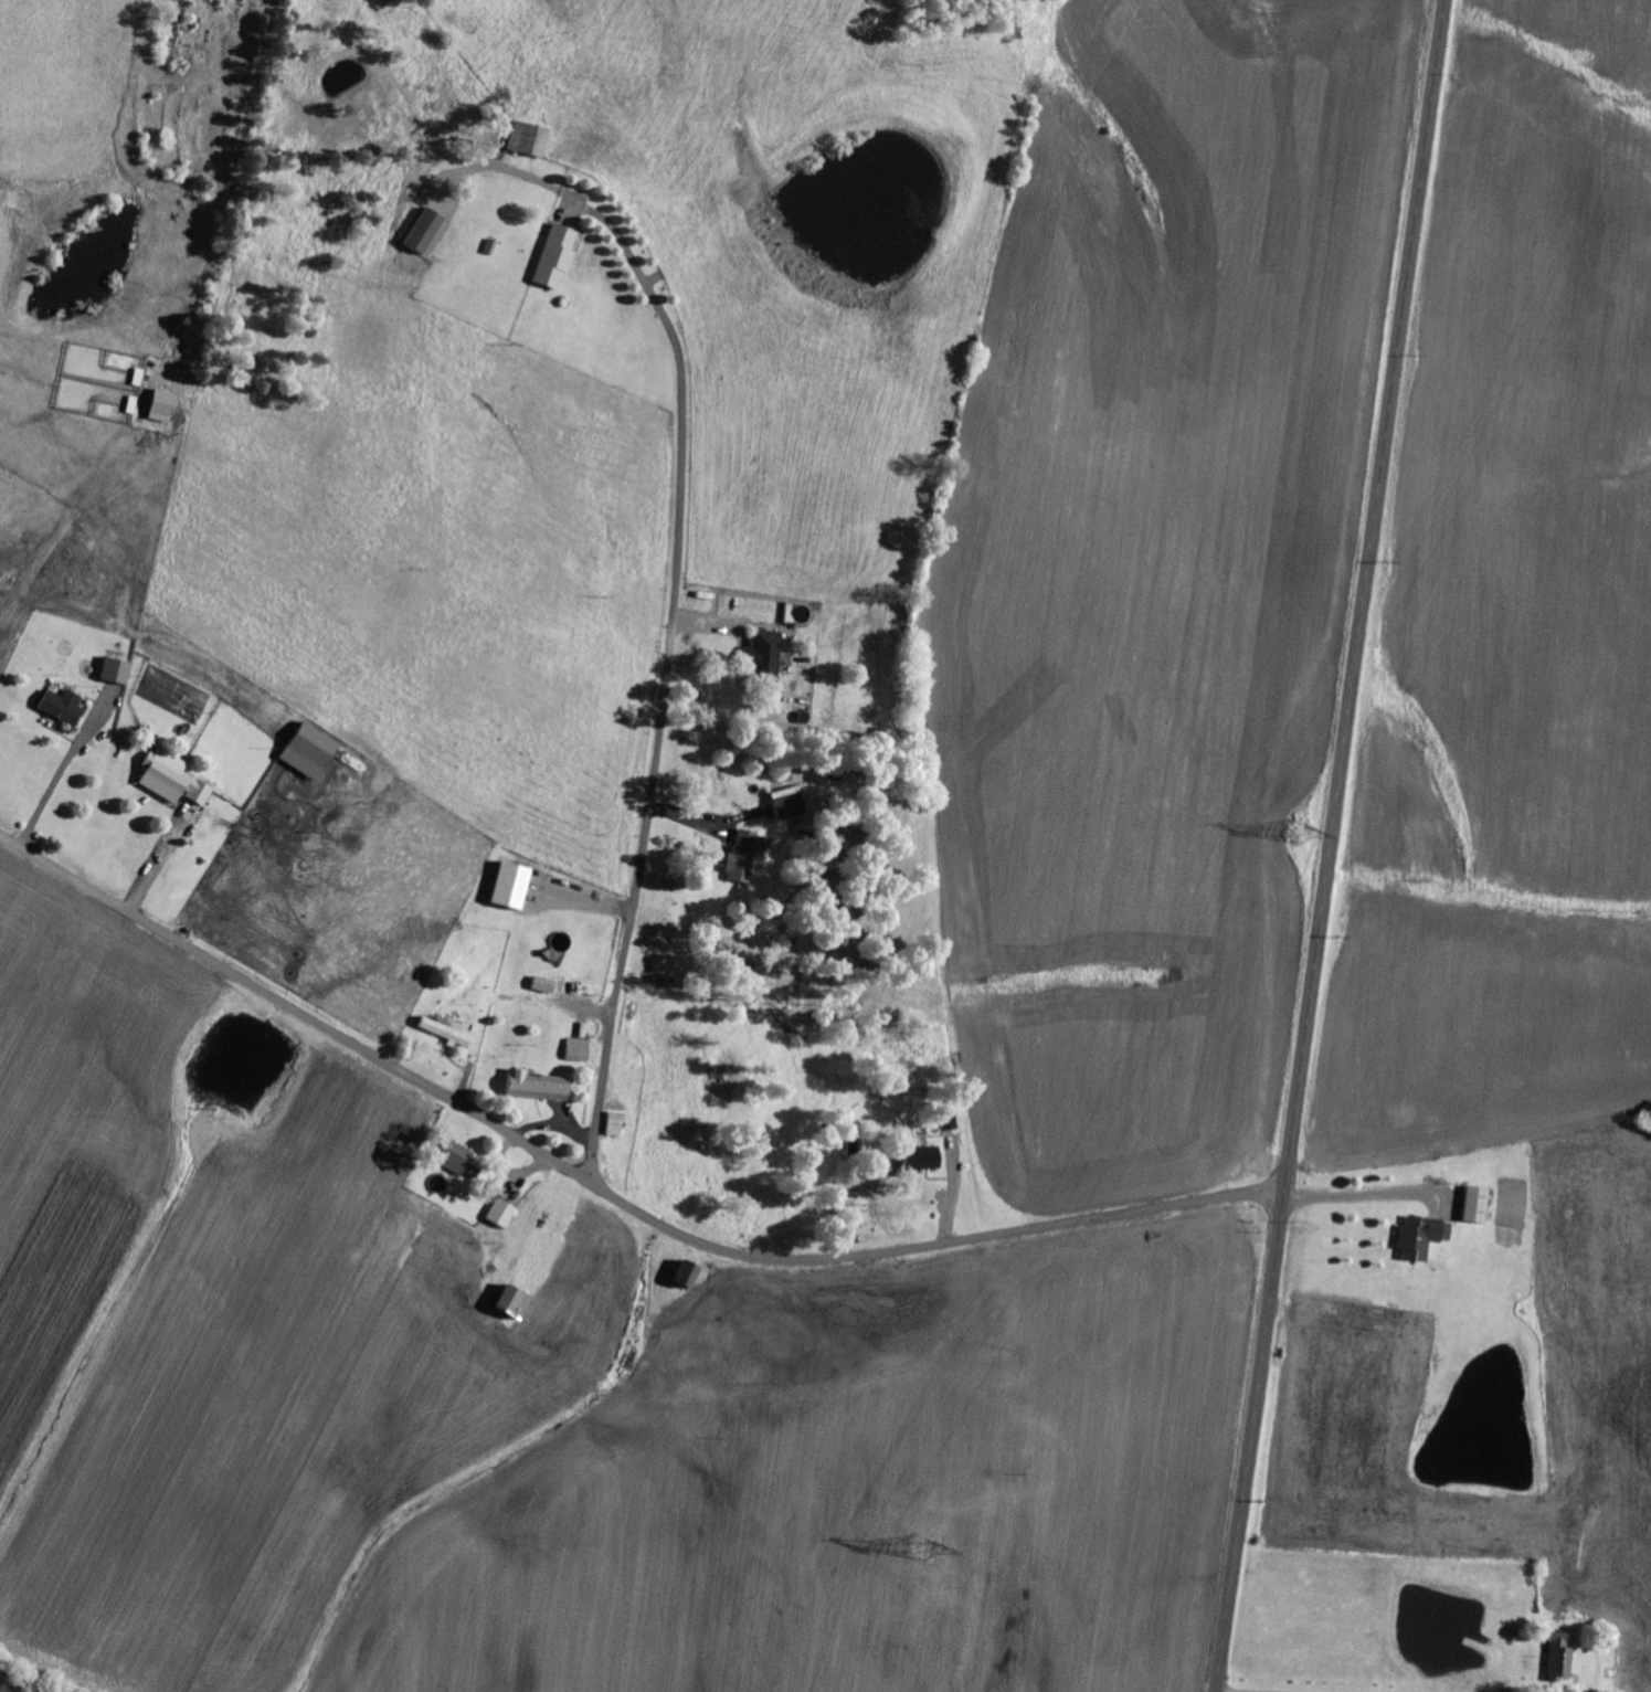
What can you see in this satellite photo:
building: (530, 139)
building: (426, 231)
building: (557, 257)
building: (766, 653)
building: (117, 671)
building: (64, 707)
road: (663, 708)
building: (310, 752)
building: (173, 780)
building: (790, 810)
power tower: (1297, 834)
road: (1331, 845)
building: (743, 856)
building: (512, 886)
building: (544, 986)
building: (446, 1033)
building: (579, 1050)
building: (540, 1087)
building: (615, 1125)
building: (458, 1160)
building: (924, 1160)
road: (604, 1189)
road: (1361, 1204)
building: (1478, 1206)
building: (501, 1215)
building: (1424, 1238)
building: (688, 1276)
building: (514, 1303)
power tower: (922, 1548)
building: (1560, 1656)
road: (1231, 1691)

